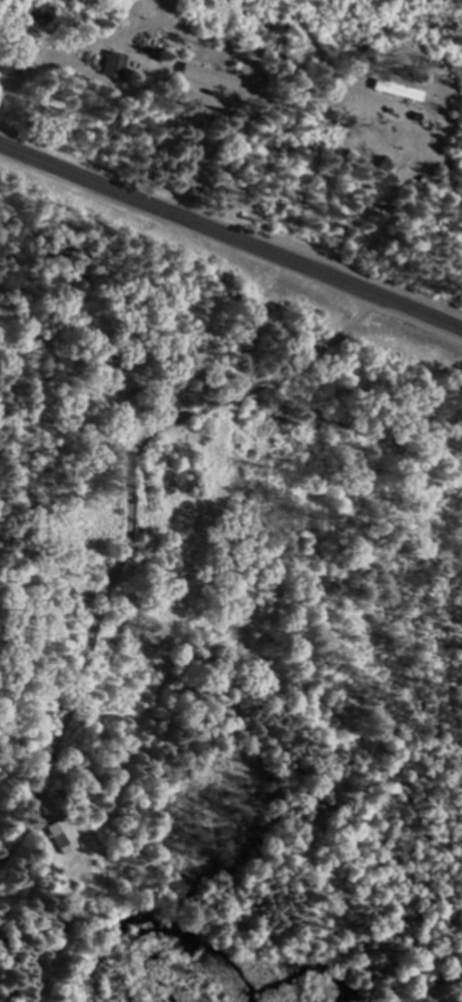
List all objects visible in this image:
building: (211, 75)
road: (231, 236)
road: (127, 476)
building: (60, 836)

